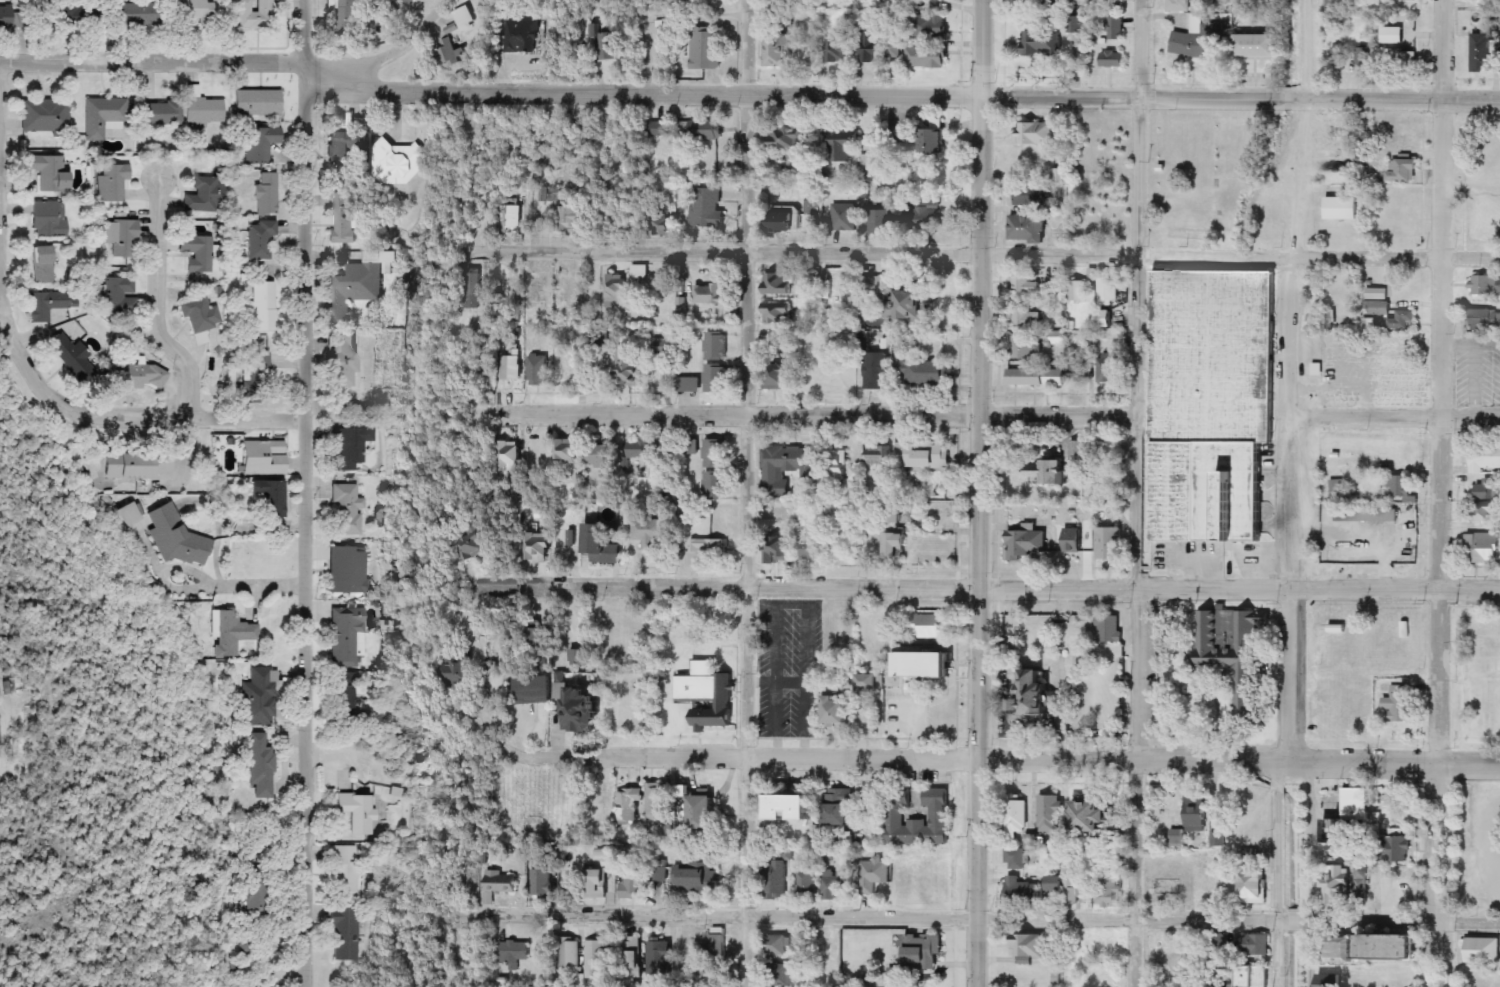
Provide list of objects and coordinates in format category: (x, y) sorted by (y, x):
building: (1400, 0)
building: (876, 1)
building: (412, 2)
building: (1039, 2)
building: (1333, 4)
building: (1485, 4)
building: (1181, 5)
building: (194, 10)
building: (137, 15)
building: (255, 15)
building: (75, 16)
building: (347, 17)
building: (8, 18)
building: (930, 26)
building: (1115, 28)
building: (592, 34)
building: (1393, 35)
building: (520, 36)
building: (1196, 40)
building: (1042, 44)
road: (393, 45)
building: (870, 46)
building: (1258, 46)
building: (610, 47)
building: (837, 49)
building: (706, 50)
building: (777, 51)
building: (919, 55)
building: (455, 56)
building: (1337, 57)
building: (1362, 58)
building: (1482, 58)
building: (808, 59)
building: (1398, 59)
road: (747, 95)
building: (258, 103)
building: (203, 112)
building: (162, 114)
building: (43, 116)
building: (102, 117)
building: (662, 130)
building: (708, 131)
building: (1036, 134)
building: (1404, 136)
building: (786, 139)
building: (901, 140)
building: (933, 140)
building: (259, 145)
building: (844, 147)
building: (344, 150)
building: (403, 164)
building: (868, 168)
building: (1402, 170)
building: (49, 172)
building: (111, 183)
road: (1472, 189)
building: (266, 194)
building: (543, 194)
road: (5, 195)
building: (204, 196)
building: (1033, 196)
building: (320, 200)
building: (640, 200)
building: (707, 206)
building: (812, 207)
building: (1341, 208)
building: (346, 213)
building: (576, 216)
building: (510, 217)
building: (843, 217)
building: (921, 217)
building: (48, 220)
building: (786, 221)
building: (879, 222)
building: (662, 223)
building: (1400, 223)
building: (1028, 227)
building: (121, 238)
building: (260, 241)
building: (196, 253)
road: (997, 253)
building: (44, 266)
building: (640, 271)
building: (407, 278)
building: (1021, 282)
building: (780, 283)
building: (1485, 285)
building: (472, 288)
building: (615, 289)
building: (354, 290)
building: (539, 291)
building: (1078, 292)
building: (710, 293)
building: (1377, 293)
road: (162, 295)
building: (118, 296)
building: (1107, 300)
building: (49, 305)
building: (916, 305)
building: (263, 306)
building: (1378, 308)
building: (199, 313)
building: (779, 313)
building: (1025, 318)
building: (1485, 318)
building: (1402, 320)
building: (717, 345)
building: (664, 346)
building: (1025, 346)
building: (72, 358)
building: (344, 361)
building: (630, 364)
building: (511, 365)
building: (1079, 368)
building: (539, 369)
building: (1109, 369)
building: (876, 370)
building: (922, 370)
building: (259, 373)
building: (138, 374)
building: (778, 377)
building: (1036, 377)
building: (716, 378)
road: (1287, 380)
building: (688, 384)
building: (1214, 402)
road: (832, 415)
road: (132, 418)
road: (1394, 419)
building: (349, 447)
road: (190, 448)
building: (667, 448)
building: (638, 449)
building: (567, 450)
building: (1078, 451)
building: (716, 454)
building: (599, 455)
building: (928, 456)
building: (264, 457)
building: (508, 457)
building: (876, 457)
building: (1485, 457)
building: (139, 465)
building: (836, 465)
building: (785, 468)
building: (1045, 471)
building: (854, 473)
building: (714, 482)
building: (1400, 485)
building: (1486, 489)
road: (308, 493)
road: (746, 493)
road: (981, 493)
road: (1139, 493)
railway: (1302, 493)
road: (1440, 493)
building: (268, 498)
building: (346, 508)
building: (1484, 510)
building: (895, 512)
building: (130, 514)
building: (1375, 515)
building: (650, 531)
building: (175, 537)
building: (604, 543)
building: (1025, 544)
building: (1109, 544)
building: (472, 545)
building: (897, 545)
building: (539, 547)
building: (1077, 547)
building: (1481, 548)
building: (793, 550)
building: (708, 551)
building: (348, 570)
road: (247, 583)
road: (992, 588)
building: (932, 626)
building: (1110, 629)
building: (231, 633)
building: (345, 637)
building: (1233, 652)
building: (578, 657)
building: (931, 665)
building: (455, 670)
building: (870, 682)
building: (532, 689)
building: (708, 693)
building: (1033, 695)
building: (257, 697)
building: (346, 698)
building: (1398, 705)
building: (586, 709)
building: (838, 709)
building: (890, 711)
road: (922, 759)
road: (1396, 763)
building: (260, 764)
building: (684, 792)
building: (1355, 804)
building: (792, 807)
building: (840, 807)
building: (359, 812)
building: (1197, 812)
building: (940, 813)
building: (1050, 815)
building: (1016, 816)
building: (1093, 816)
building: (705, 817)
building: (1397, 849)
building: (1014, 859)
building: (344, 872)
road: (1277, 872)
road: (1310, 872)
building: (657, 873)
building: (775, 876)
building: (873, 876)
building: (696, 878)
building: (596, 880)
building: (806, 881)
building: (542, 883)
building: (501, 884)
building: (633, 884)
building: (1065, 887)
building: (1256, 887)
building: (834, 888)
building: (1337, 889)
building: (1021, 890)
building: (256, 897)
road: (995, 917)
building: (346, 935)
building: (715, 945)
building: (779, 945)
building: (1256, 945)
building: (1029, 947)
building: (249, 948)
building: (689, 949)
building: (1376, 949)
building: (1482, 950)
building: (923, 952)
building: (514, 953)
building: (630, 954)
building: (569, 956)
building: (660, 957)
building: (597, 958)
building: (834, 969)
building: (711, 974)
building: (788, 975)
building: (1107, 976)
building: (1251, 978)
building: (1330, 981)

